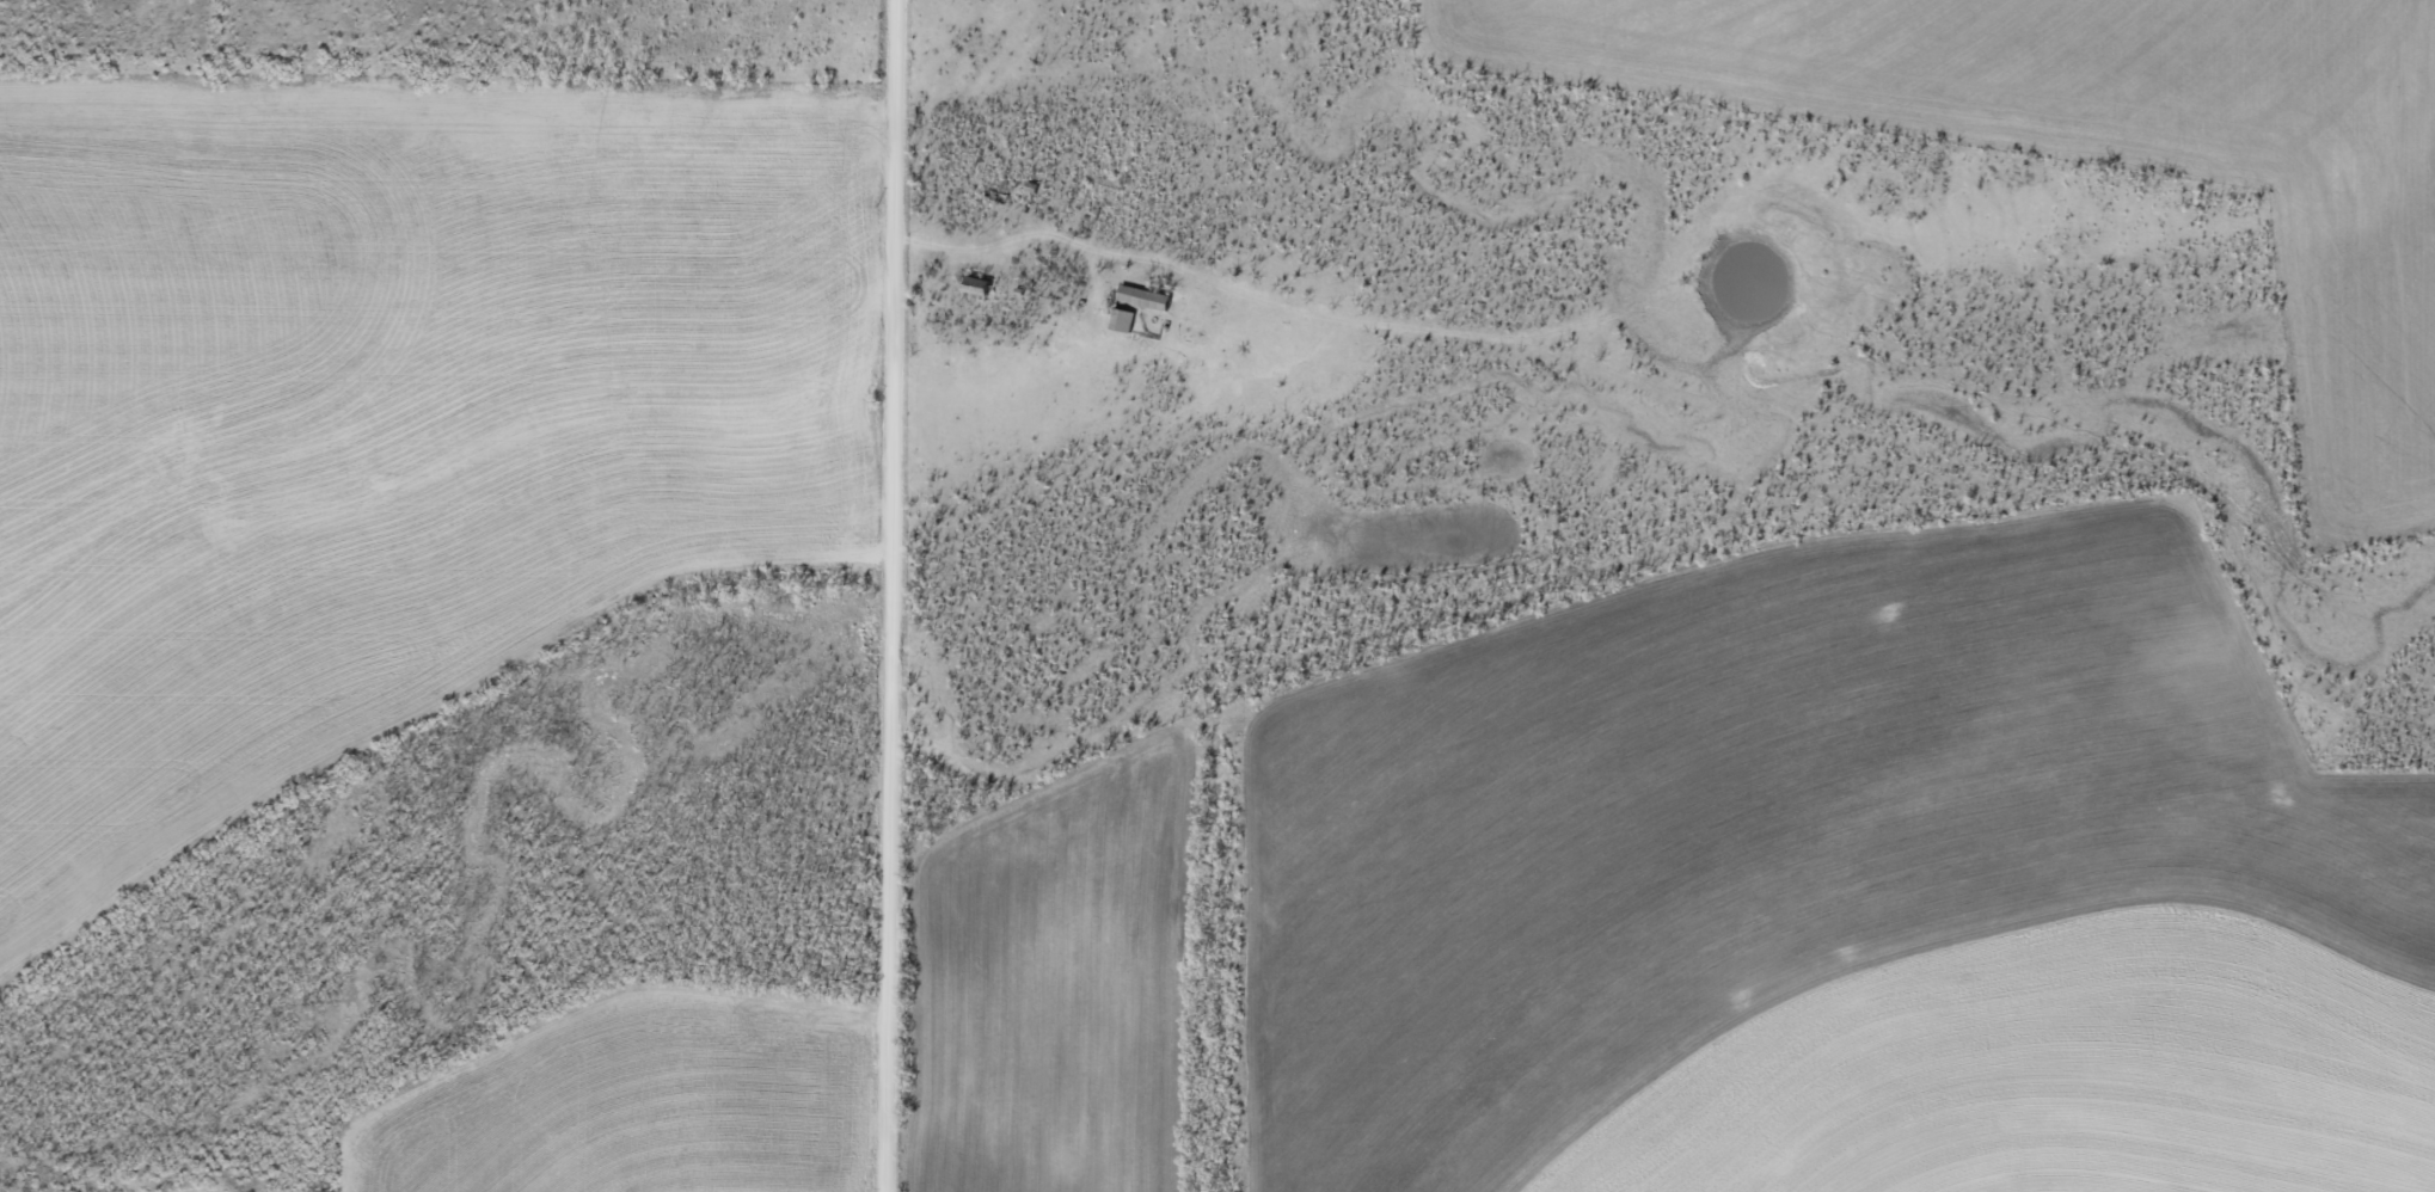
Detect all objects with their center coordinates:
road: (958, 595)

